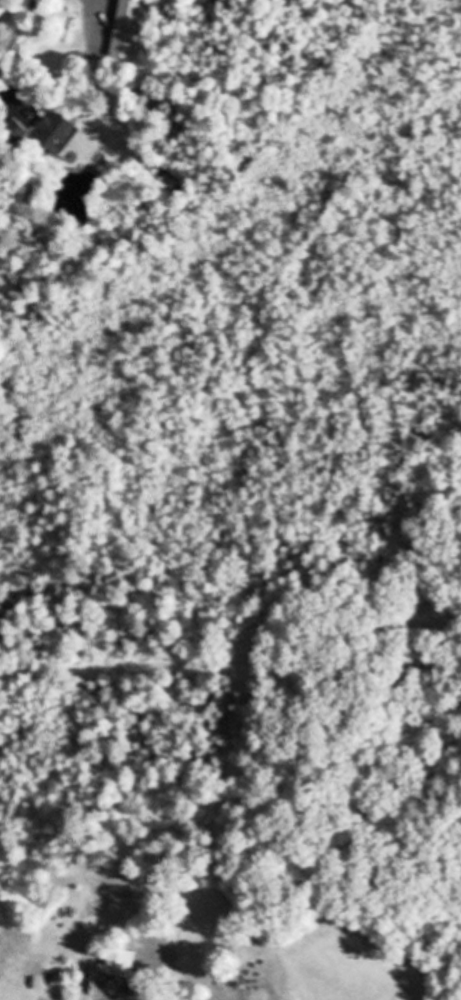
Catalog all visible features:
building: (127, 29)
building: (57, 132)
park: (345, 772)
building: (119, 961)

